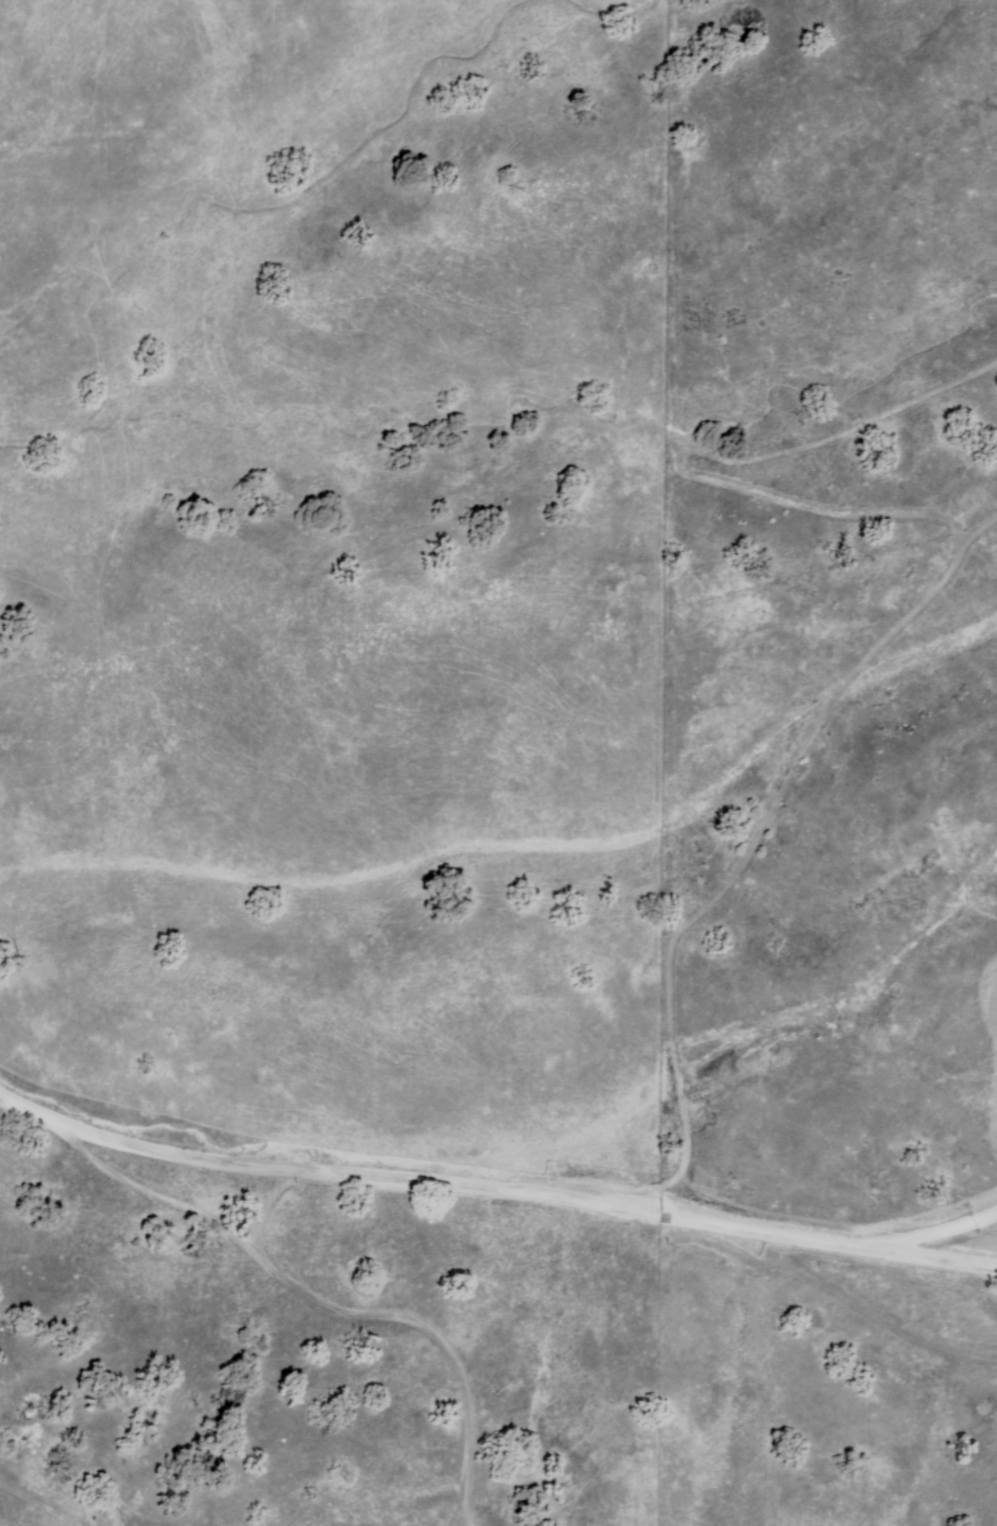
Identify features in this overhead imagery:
road: (495, 1185)

